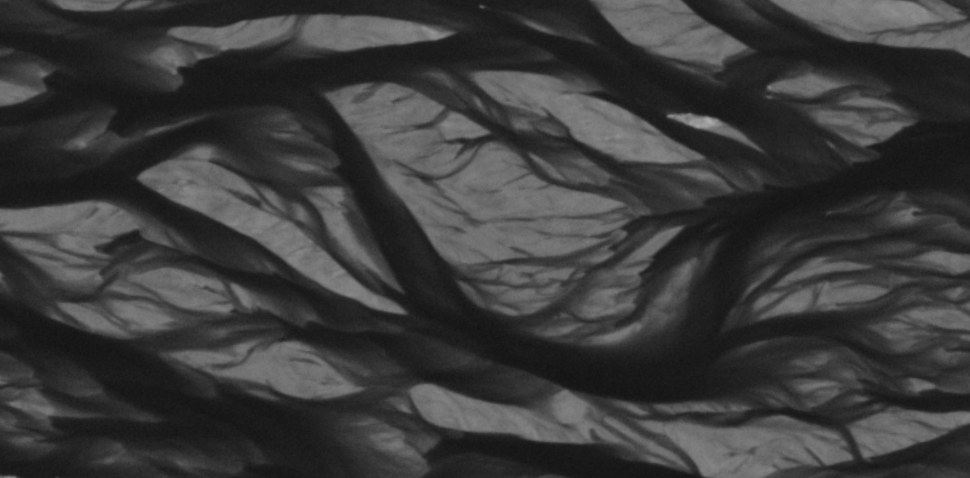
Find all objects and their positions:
river: (483, 401)

